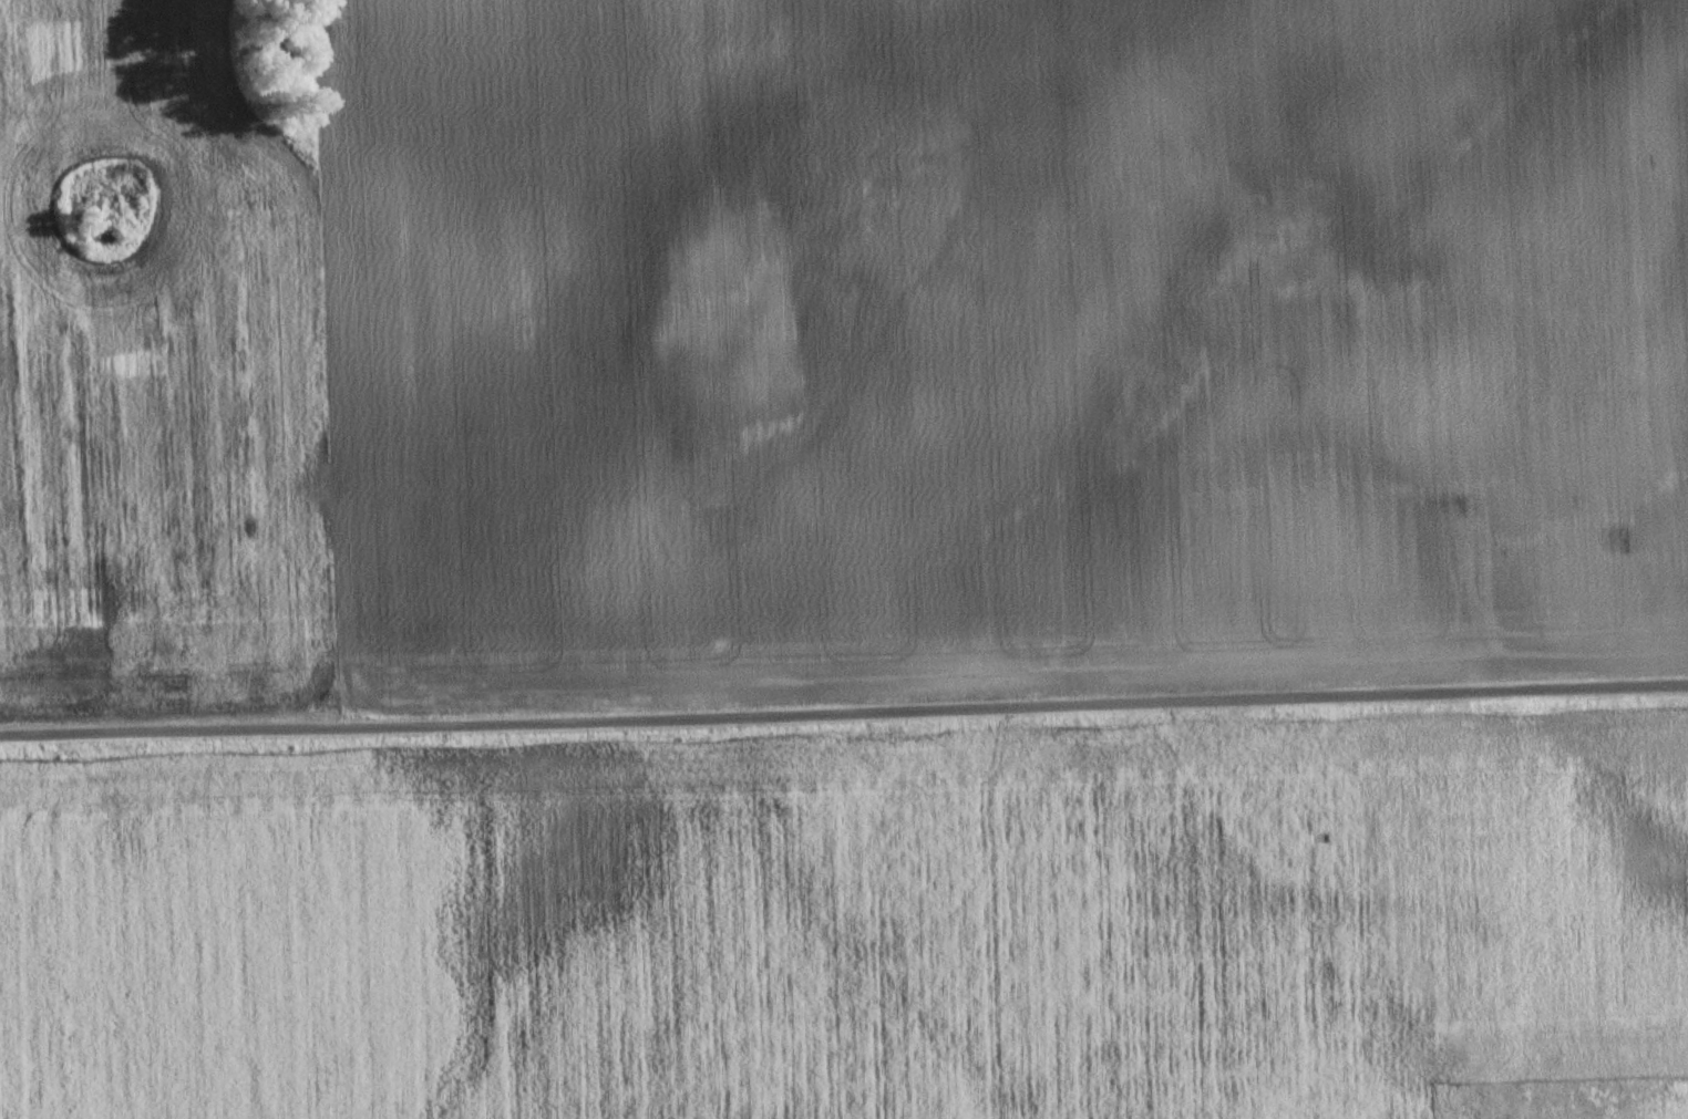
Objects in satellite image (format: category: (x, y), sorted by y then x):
road: (844, 717)

